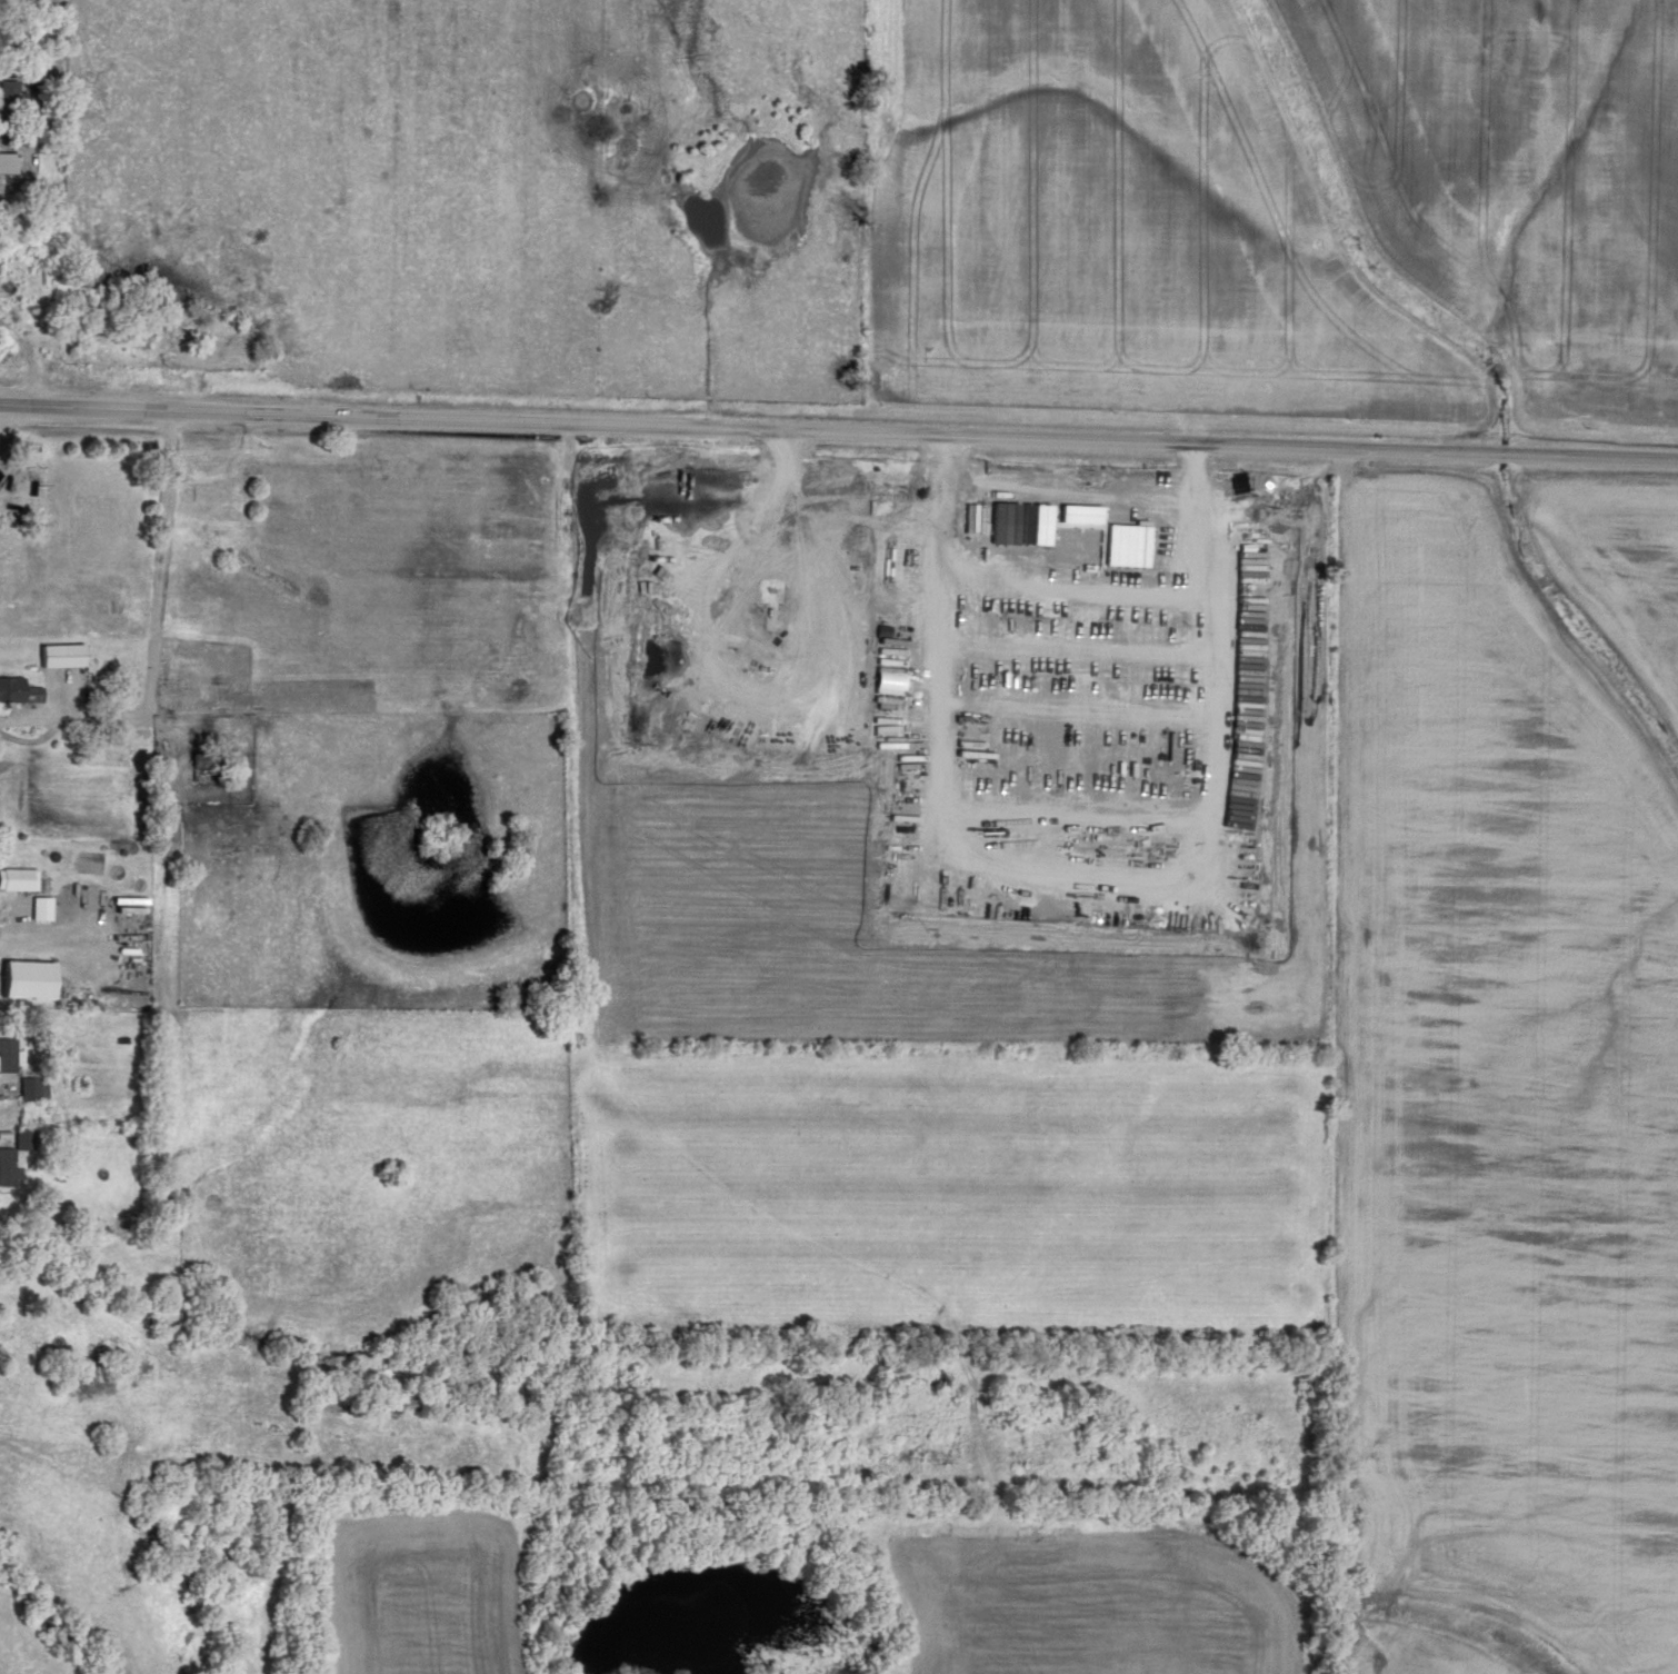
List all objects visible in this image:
building: (11, 94)
building: (7, 160)
road: (32, 160)
road: (29, 360)
road: (4, 415)
road: (839, 431)
road: (201, 480)
building: (1079, 510)
building: (1020, 520)
building: (1126, 541)
building: (60, 651)
building: (18, 688)
road: (37, 720)
building: (207, 756)
building: (17, 876)
road: (16, 903)
building: (40, 905)
building: (24, 976)
building: (9, 1053)
building: (29, 1085)
road: (6, 1092)
road: (1, 1137)
building: (13, 1154)

